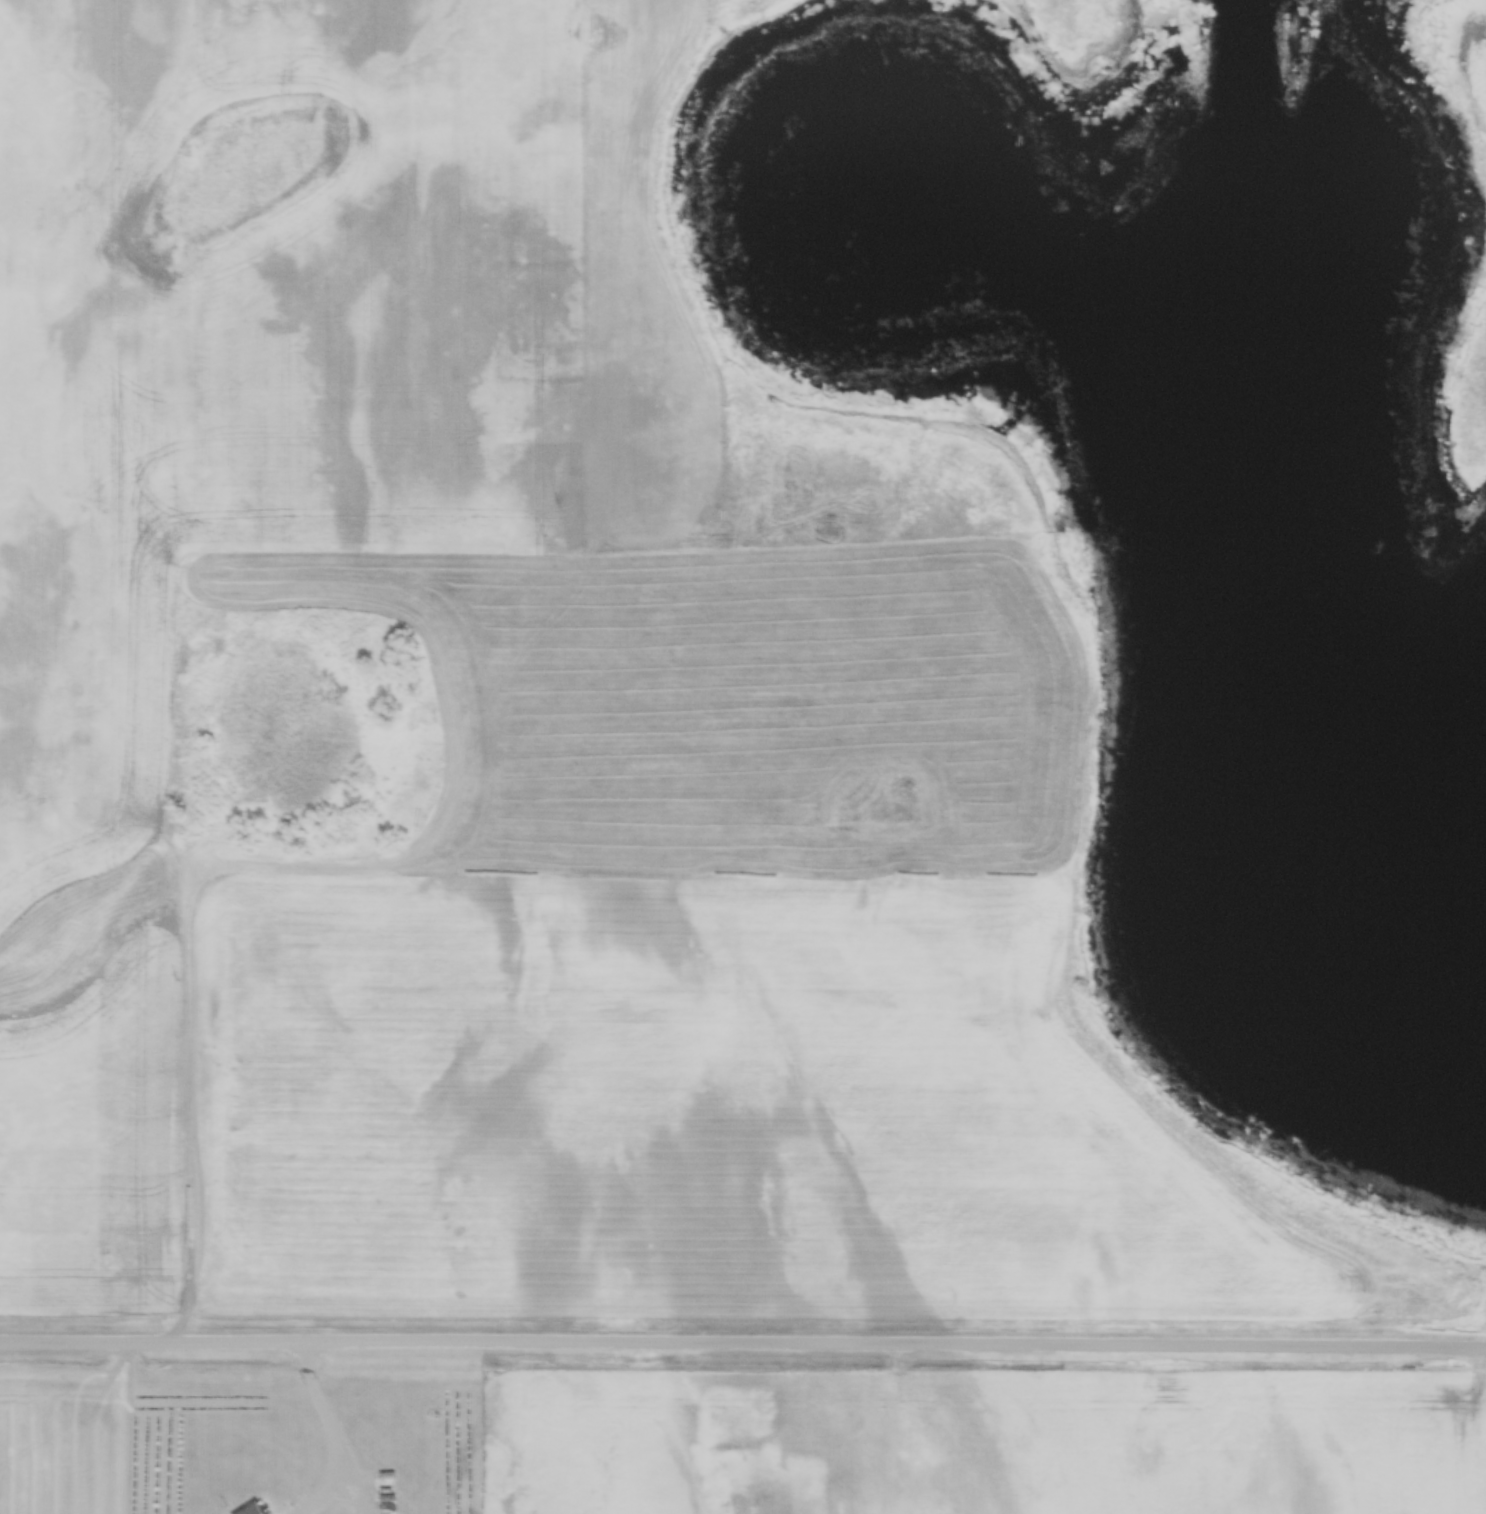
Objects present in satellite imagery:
road: (743, 1346)
road: (334, 1431)
building: (254, 1510)

